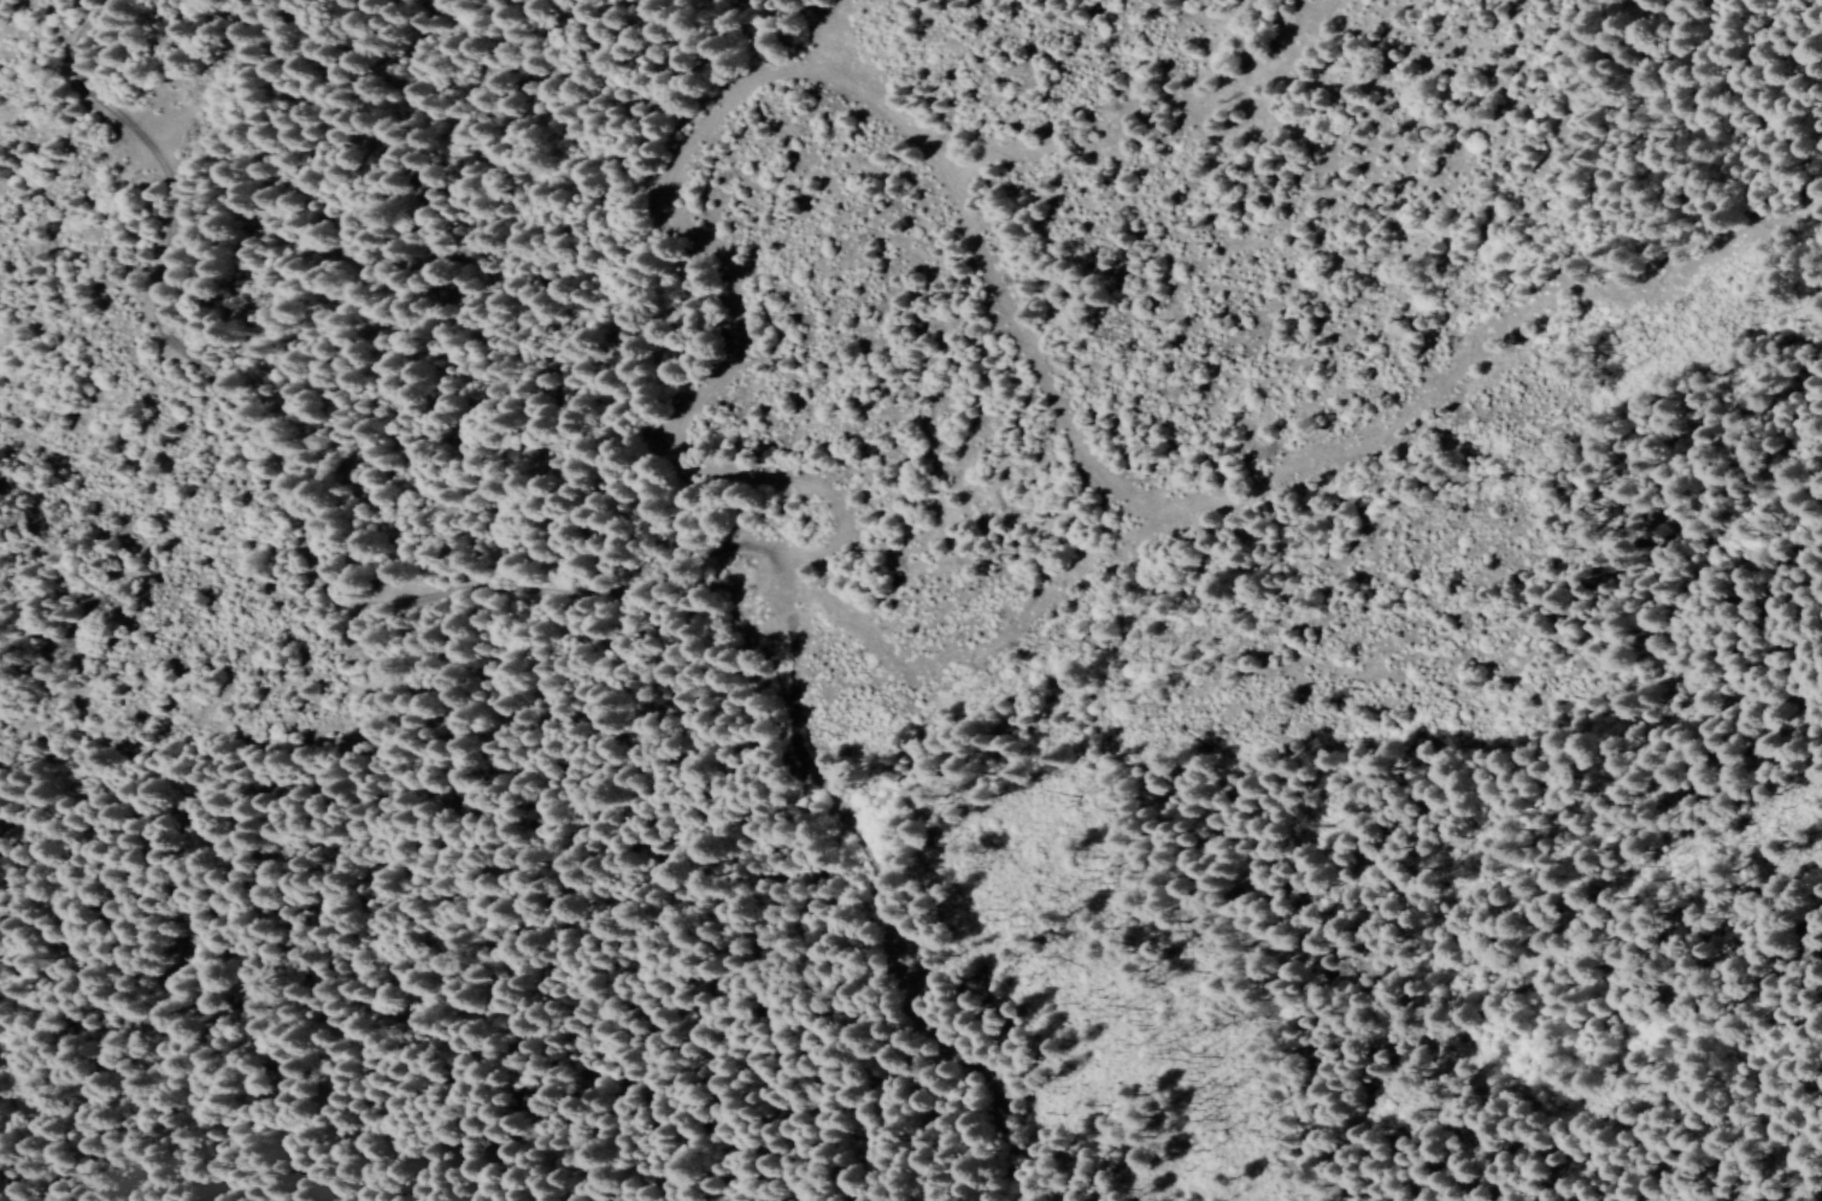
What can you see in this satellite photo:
road: (542, 601)

